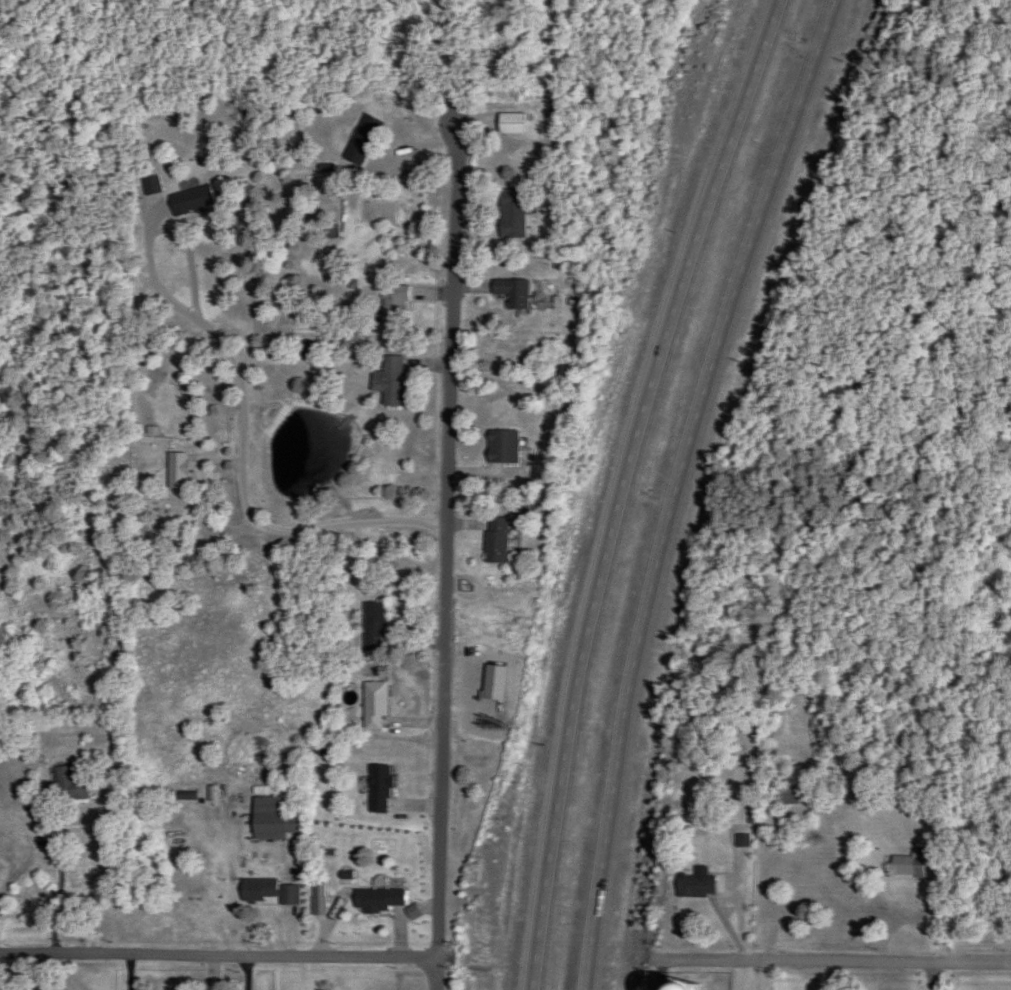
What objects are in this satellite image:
building: (506, 122)
building: (359, 142)
building: (150, 185)
building: (190, 201)
building: (507, 214)
building: (507, 291)
building: (390, 303)
building: (387, 381)
building: (499, 446)
road: (244, 450)
building: (175, 469)
road: (623, 487)
road: (681, 487)
road: (448, 540)
building: (492, 540)
building: (372, 626)
building: (373, 706)
building: (64, 785)
building: (377, 789)
building: (784, 794)
building: (271, 819)
building: (907, 864)
building: (691, 886)
building: (268, 888)
road: (775, 891)
building: (376, 900)
road: (930, 907)
road: (219, 959)
road: (836, 961)
road: (16, 972)
road: (251, 975)
road: (439, 976)
road: (767, 976)
road: (935, 976)
road: (661, 978)

